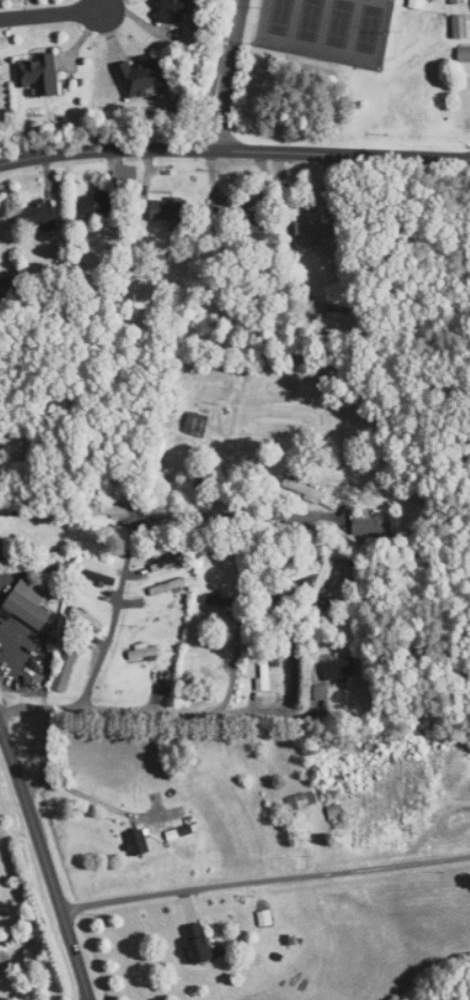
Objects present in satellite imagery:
building: (458, 2)
building: (418, 4)
building: (176, 11)
road: (53, 15)
building: (461, 27)
park: (328, 29)
building: (464, 54)
building: (40, 74)
road: (218, 75)
road: (228, 75)
building: (141, 77)
building: (0, 78)
road: (234, 152)
building: (98, 204)
building: (168, 209)
building: (40, 214)
building: (248, 218)
building: (318, 225)
building: (6, 287)
building: (345, 323)
building: (194, 424)
building: (304, 490)
building: (107, 510)
road: (150, 519)
building: (373, 528)
building: (0, 554)
building: (170, 564)
building: (169, 587)
building: (269, 602)
building: (216, 604)
building: (30, 605)
building: (87, 620)
road: (328, 623)
building: (144, 654)
building: (200, 666)
building: (66, 671)
building: (340, 671)
building: (265, 676)
road: (150, 713)
road: (87, 796)
building: (302, 802)
building: (336, 813)
building: (139, 843)
road: (47, 861)
road: (266, 883)
building: (265, 918)
building: (200, 942)

